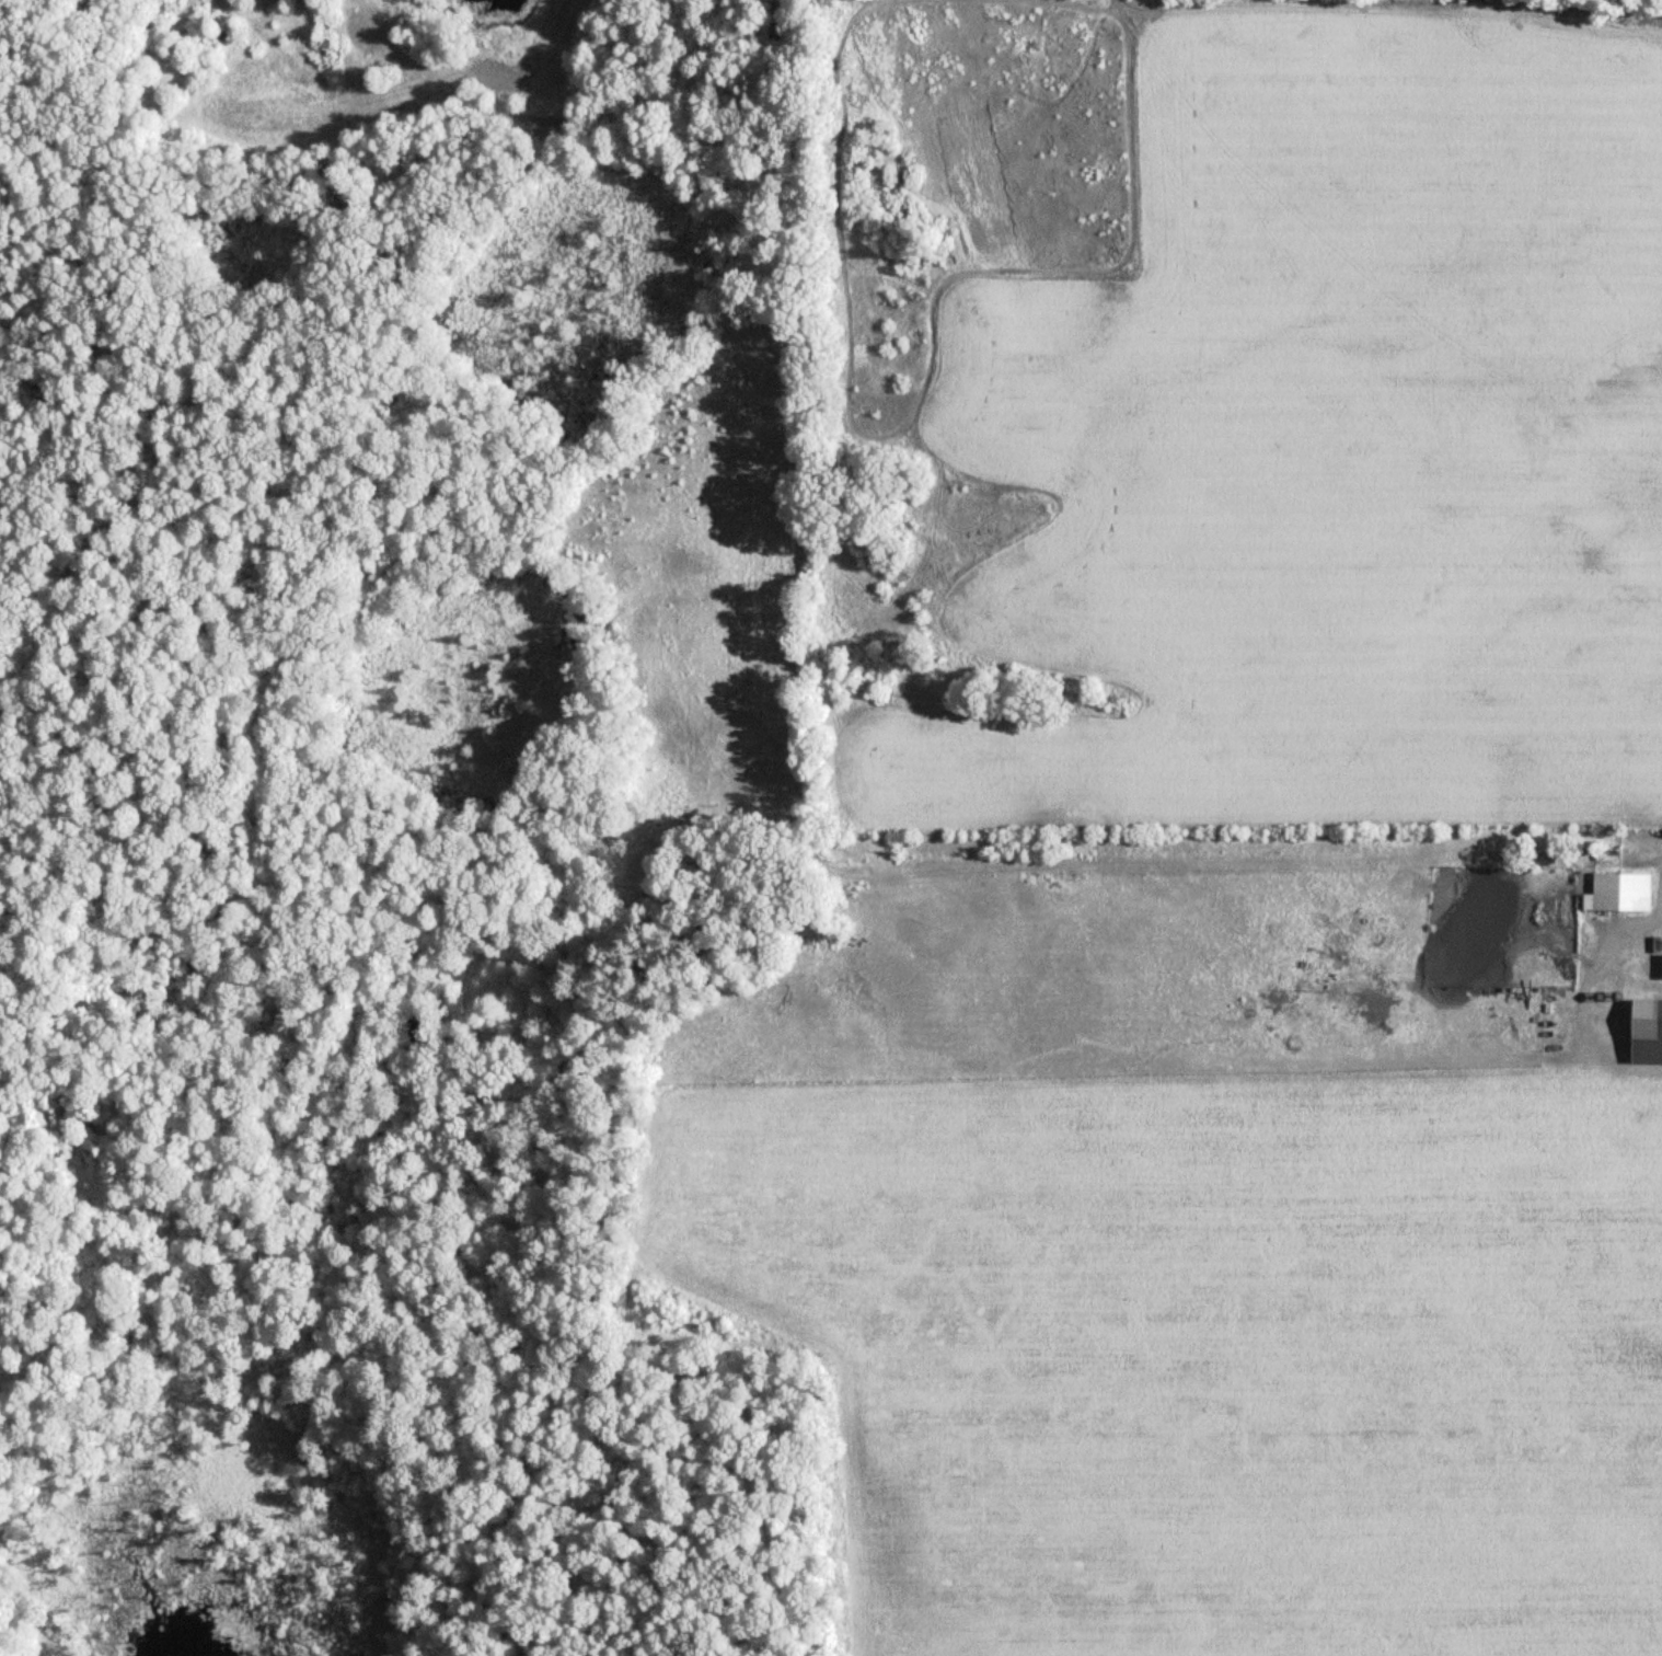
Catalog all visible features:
building: (1617, 893)
road: (1582, 984)
building: (1644, 1031)

